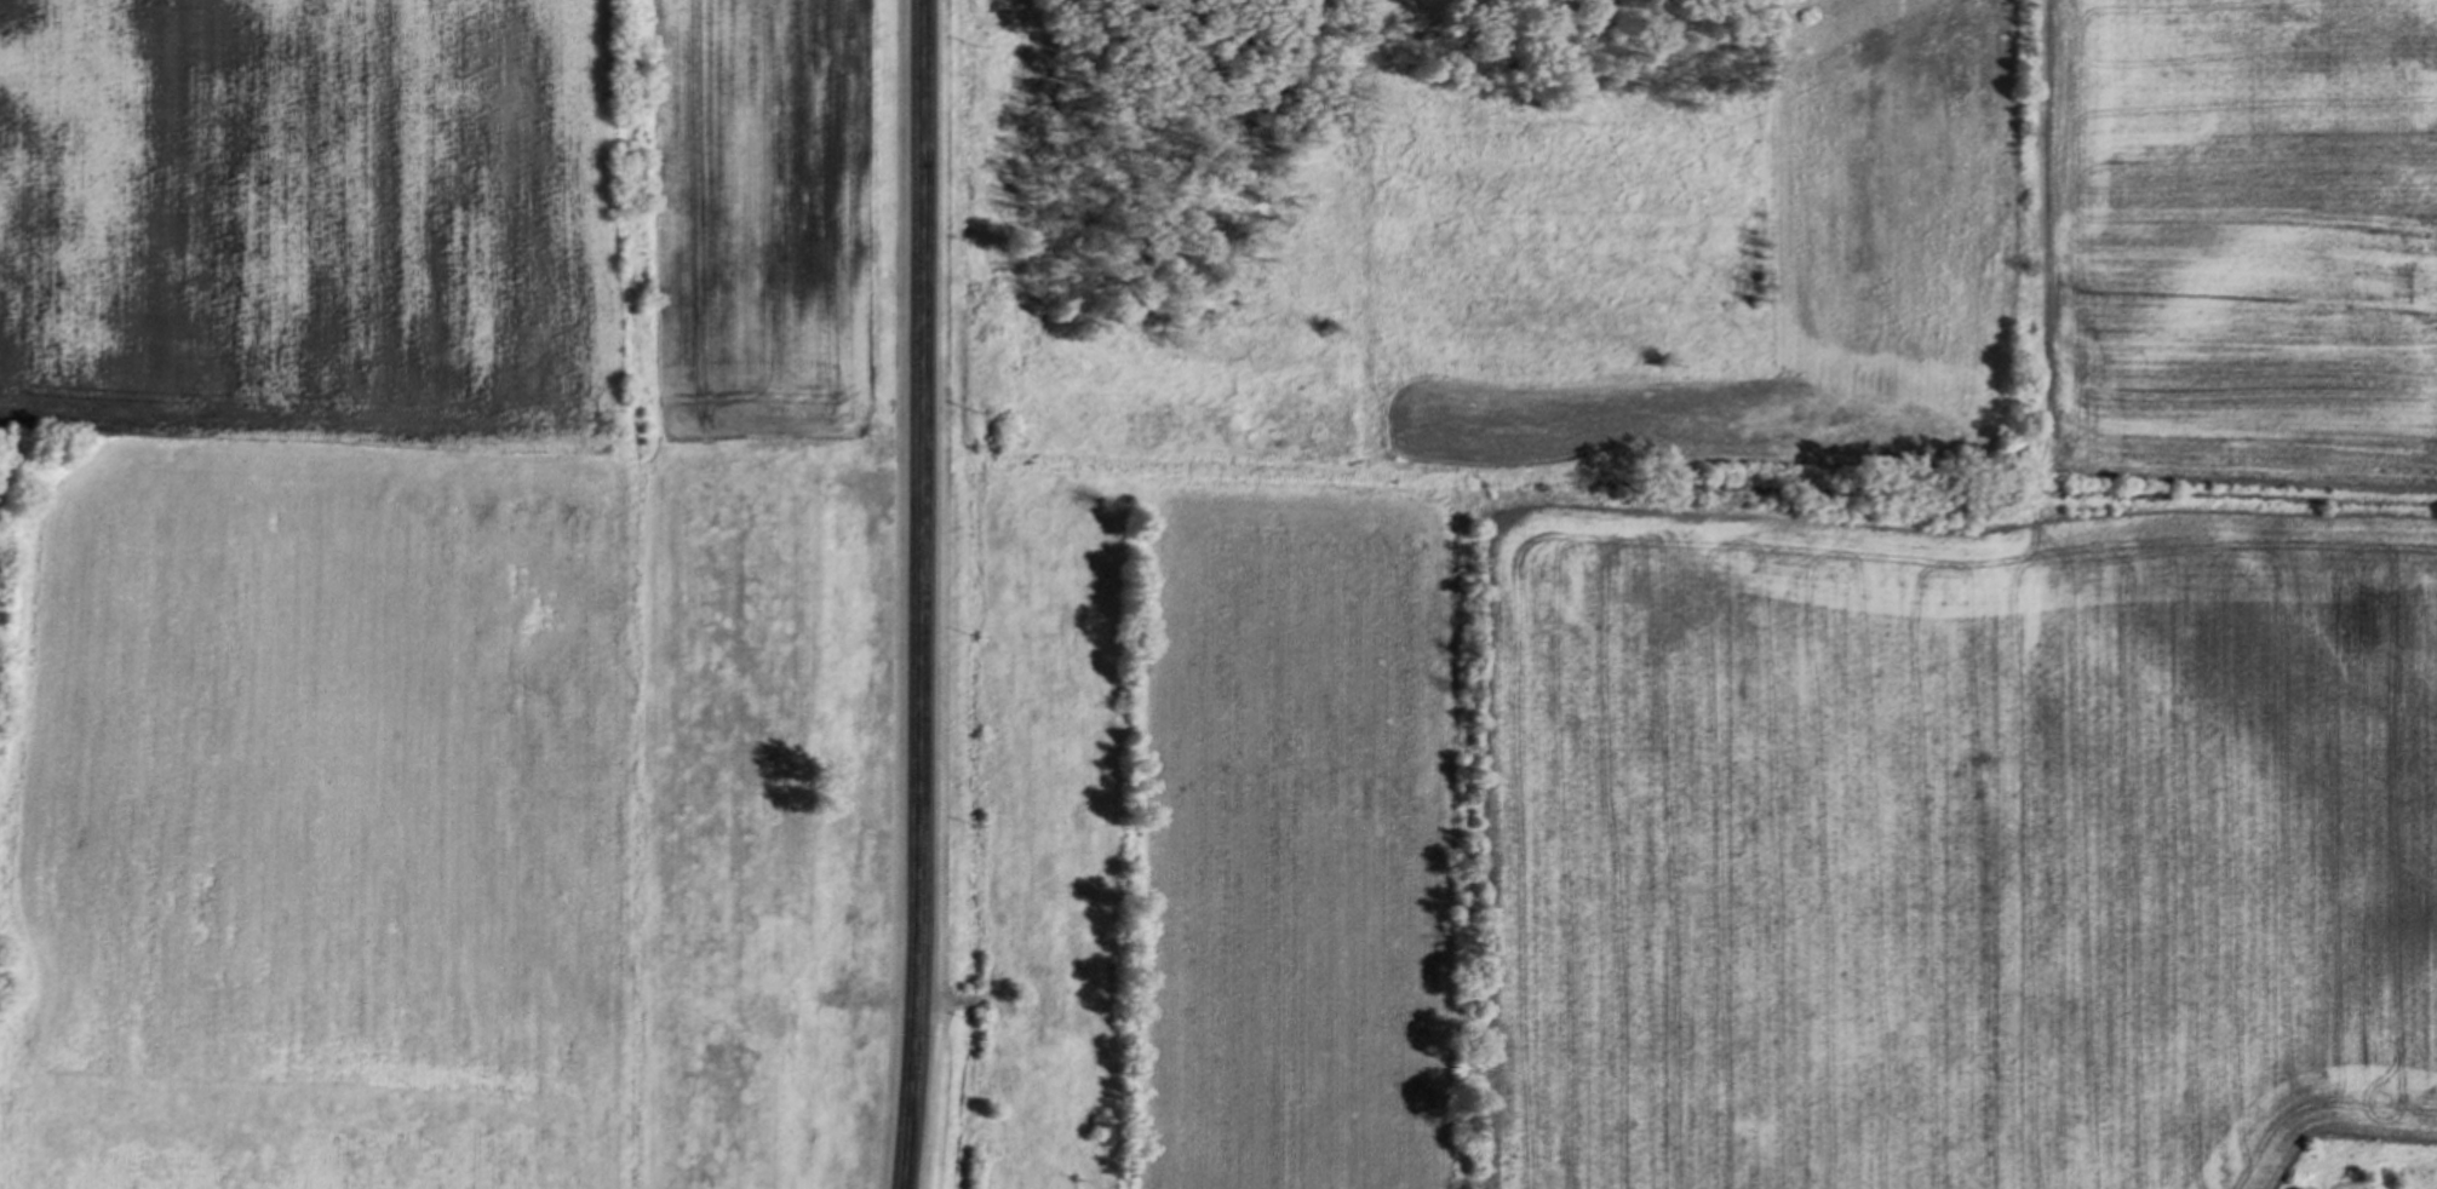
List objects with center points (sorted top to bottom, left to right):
road: (916, 594)
crop: (1794, 688)

